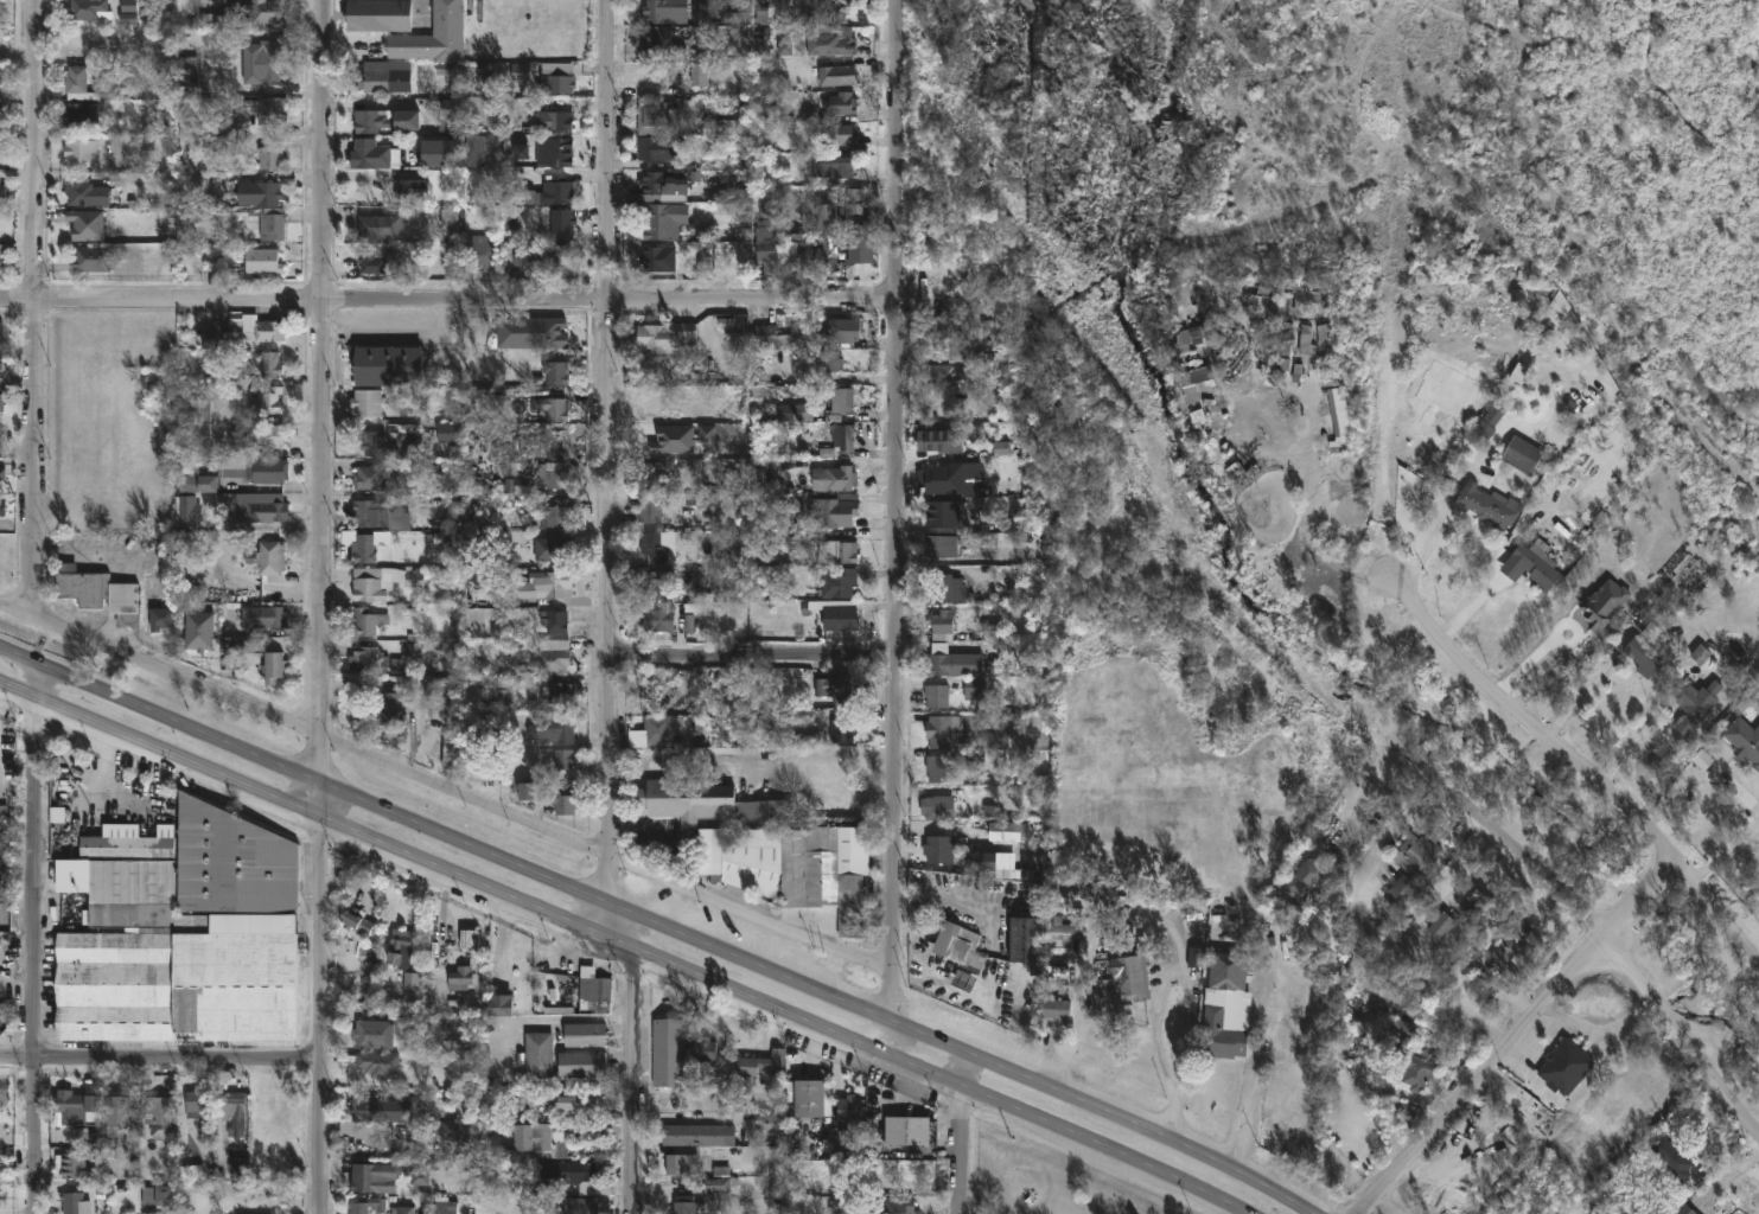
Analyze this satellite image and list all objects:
building: (815, 9)
building: (89, 11)
building: (665, 11)
building: (128, 12)
building: (249, 14)
building: (378, 14)
building: (434, 36)
building: (833, 41)
building: (661, 43)
building: (262, 62)
building: (699, 72)
building: (839, 75)
building: (544, 76)
building: (0, 79)
building: (187, 81)
building: (376, 81)
building: (83, 85)
building: (841, 103)
building: (0, 107)
building: (265, 109)
building: (79, 114)
building: (690, 116)
building: (657, 117)
building: (370, 119)
building: (554, 120)
building: (725, 124)
building: (228, 134)
building: (840, 134)
building: (82, 151)
building: (667, 151)
building: (2, 152)
building: (375, 153)
building: (441, 153)
building: (559, 154)
building: (270, 156)
building: (830, 166)
building: (407, 181)
building: (556, 191)
building: (1, 192)
building: (87, 193)
building: (260, 193)
building: (520, 196)
building: (658, 206)
building: (87, 223)
building: (273, 223)
building: (452, 223)
building: (562, 224)
building: (380, 225)
building: (827, 236)
building: (862, 243)
building: (795, 247)
building: (770, 251)
building: (480, 254)
building: (529, 255)
building: (91, 258)
building: (658, 260)
building: (262, 261)
building: (1, 262)
building: (369, 262)
building: (561, 263)
railway: (1585, 273)
road: (448, 302)
building: (1274, 302)
building: (1302, 306)
road: (36, 307)
road: (608, 325)
road: (898, 326)
building: (259, 327)
building: (942, 327)
building: (1, 328)
building: (840, 331)
building: (553, 334)
building: (667, 337)
building: (772, 338)
building: (1305, 340)
building: (1330, 352)
building: (0, 363)
building: (270, 365)
building: (389, 365)
building: (824, 365)
building: (556, 372)
building: (948, 372)
road: (323, 391)
building: (268, 401)
building: (842, 401)
building: (1, 403)
building: (367, 403)
building: (553, 408)
building: (199, 409)
building: (795, 415)
building: (1341, 420)
building: (1490, 421)
building: (448, 433)
building: (269, 435)
building: (387, 439)
building: (661, 439)
building: (840, 440)
building: (942, 441)
building: (1001, 451)
building: (7, 460)
building: (268, 471)
building: (1, 472)
building: (552, 475)
building: (652, 475)
building: (771, 477)
building: (370, 478)
building: (947, 479)
building: (824, 480)
building: (198, 483)
building: (1491, 506)
building: (256, 507)
building: (0, 510)
building: (187, 511)
road: (1314, 511)
building: (650, 512)
building: (834, 512)
building: (368, 513)
building: (943, 513)
building: (556, 515)
road: (1433, 536)
building: (656, 545)
building: (947, 545)
building: (828, 547)
building: (478, 549)
building: (365, 550)
building: (554, 550)
building: (269, 558)
building: (1538, 566)
building: (382, 582)
building: (656, 582)
building: (837, 582)
building: (553, 583)
building: (944, 589)
building: (101, 595)
building: (255, 616)
building: (501, 618)
building: (669, 618)
building: (161, 619)
building: (841, 619)
building: (555, 621)
building: (367, 622)
building: (942, 625)
building: (199, 631)
road: (753, 653)
building: (1645, 657)
building: (368, 659)
building: (553, 660)
building: (939, 660)
building: (273, 667)
building: (975, 689)
building: (837, 690)
building: (501, 691)
building: (556, 694)
building: (938, 696)
building: (1697, 702)
building: (391, 710)
road: (160, 716)
building: (553, 728)
building: (845, 728)
building: (661, 730)
building: (943, 730)
building: (478, 734)
road: (1632, 739)
building: (1746, 739)
road: (159, 749)
building: (452, 752)
building: (566, 760)
road: (1574, 765)
building: (941, 769)
road: (693, 771)
road: (608, 778)
road: (445, 787)
building: (525, 792)
road: (1364, 797)
road: (320, 798)
building: (563, 800)
building: (707, 804)
building: (941, 805)
road: (894, 838)
road: (1503, 838)
building: (939, 850)
building: (715, 857)
building: (1419, 857)
building: (232, 861)
building: (984, 863)
building: (827, 871)
building: (1307, 883)
building: (1402, 889)
building: (1479, 905)
building: (355, 920)
road: (608, 920)
building: (1441, 927)
road: (38, 939)
building: (469, 940)
building: (1517, 940)
building: (1027, 944)
building: (961, 947)
building: (399, 948)
building: (167, 954)
building: (1231, 970)
building: (1056, 973)
building: (459, 977)
building: (1133, 978)
building: (593, 985)
building: (412, 988)
road: (820, 991)
building: (501, 1004)
building: (1058, 1009)
road: (778, 1010)
road: (323, 1014)
road: (1191, 1016)
building: (1406, 1030)
building: (1223, 1031)
building: (372, 1034)
building: (585, 1034)
road: (1516, 1035)
building: (668, 1052)
building: (706, 1052)
building: (559, 1059)
road: (161, 1062)
building: (377, 1063)
building: (761, 1063)
road: (636, 1065)
building: (1566, 1067)
building: (1417, 1071)
building: (810, 1097)
building: (196, 1103)
building: (232, 1104)
building: (573, 1104)
building: (76, 1105)
building: (363, 1108)
building: (852, 1112)
building: (117, 1113)
building: (159, 1116)
road: (1243, 1116)
building: (907, 1130)
building: (452, 1133)
building: (697, 1135)
road: (964, 1135)
building: (534, 1142)
building: (1675, 1157)
building: (0, 1158)
building: (681, 1164)
building: (77, 1167)
building: (372, 1178)
building: (585, 1178)
road: (1726, 1183)
building: (719, 1184)
building: (159, 1195)
building: (72, 1203)
building: (687, 1205)
building: (367, 1206)
building: (579, 1206)
building: (898, 1206)
building: (446, 1207)
building: (403, 1210)

